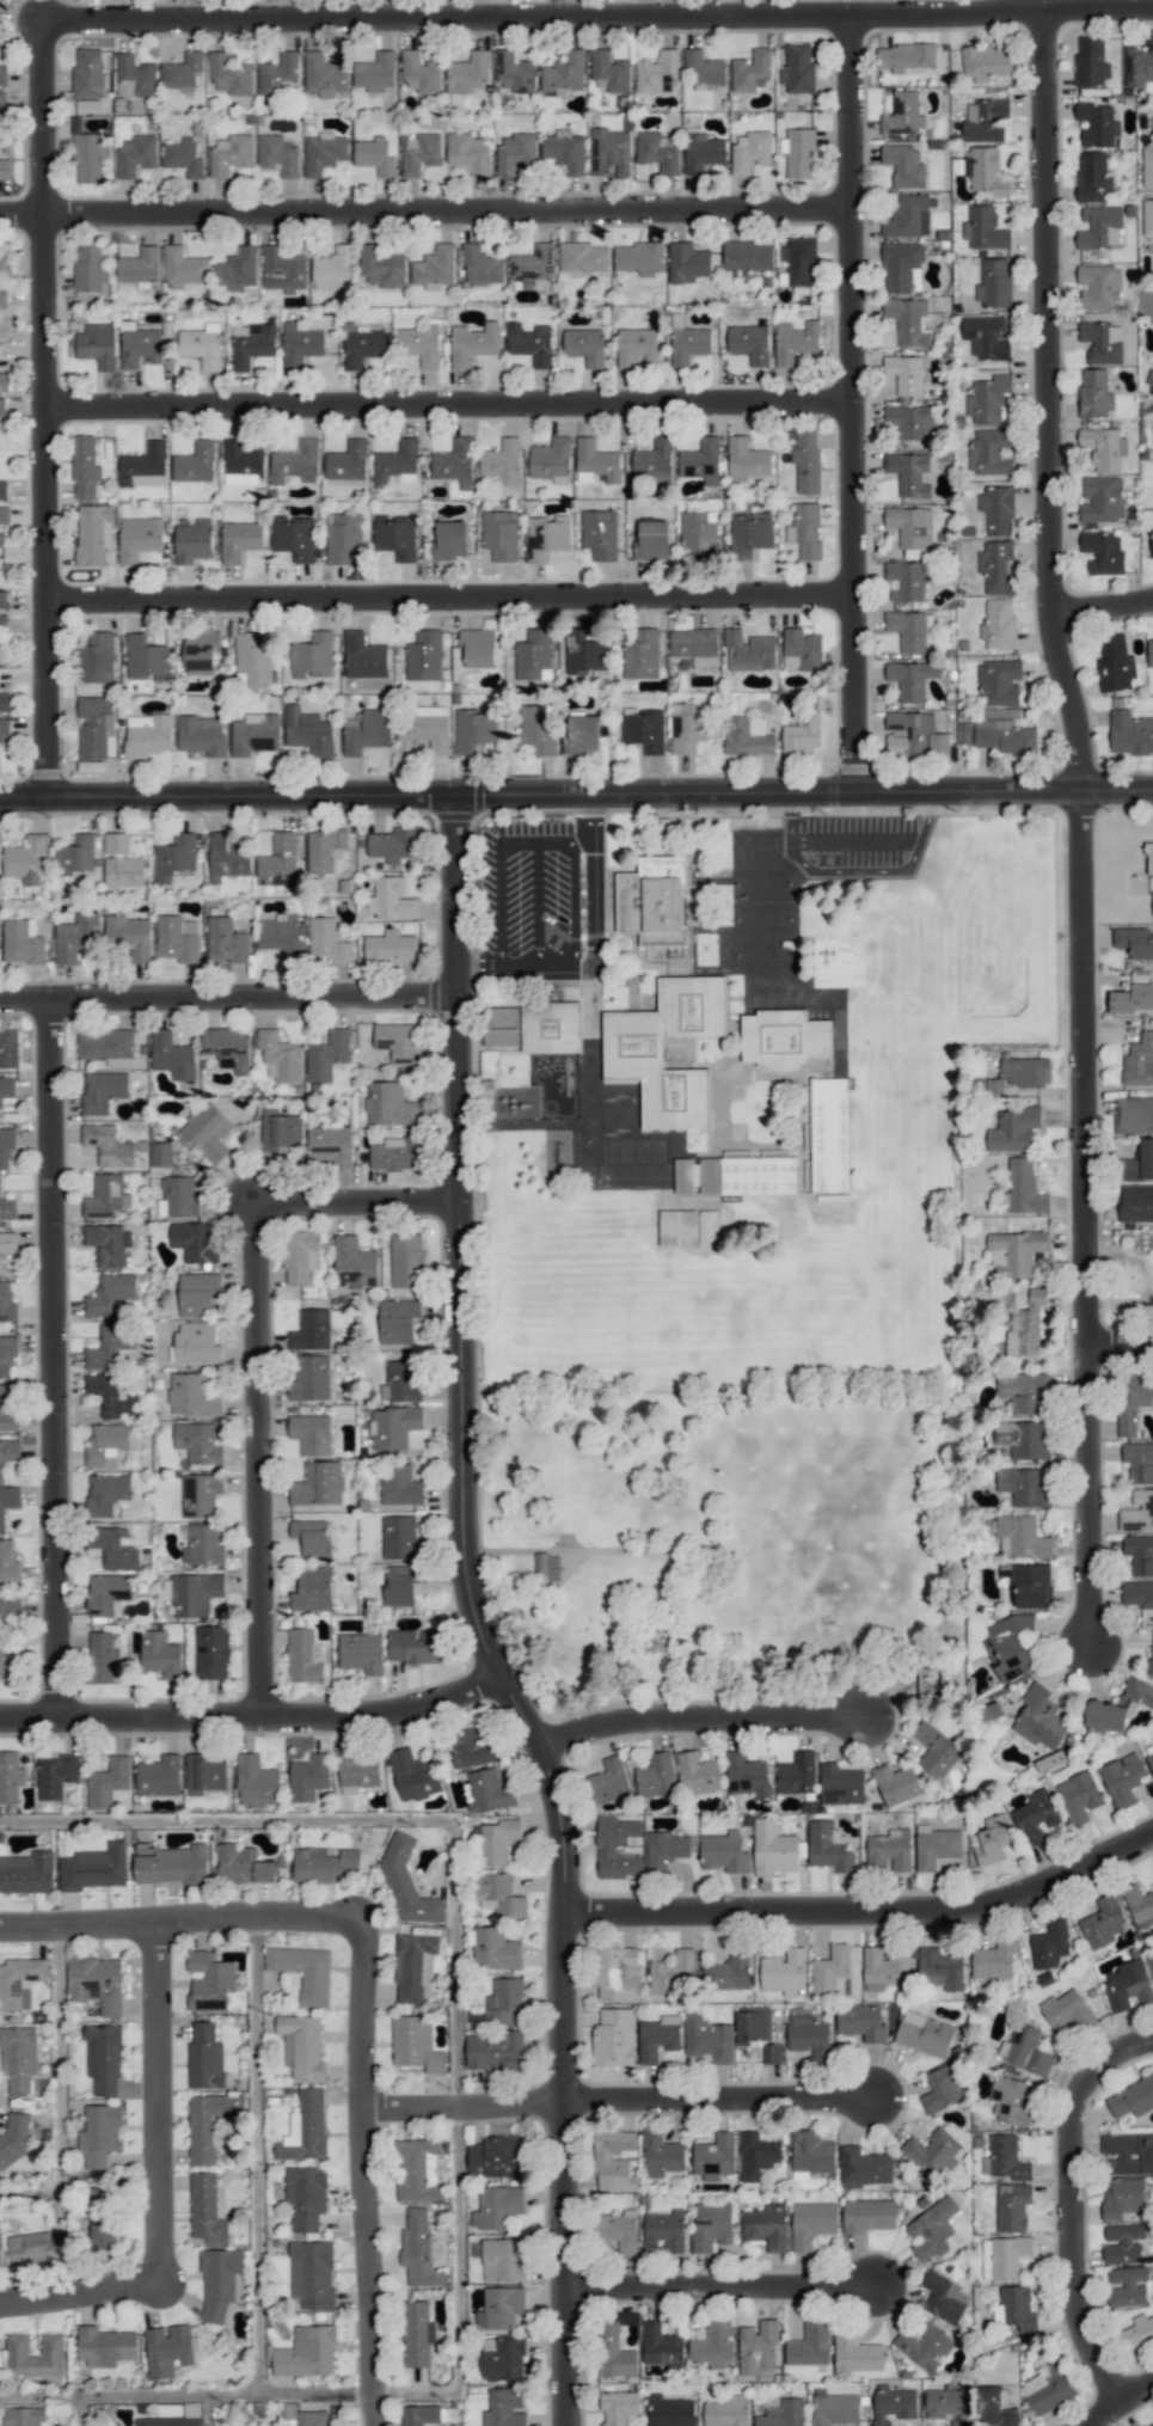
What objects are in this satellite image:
road: (597, 17)
building: (904, 56)
building: (986, 62)
building: (1090, 62)
building: (1139, 65)
building: (703, 68)
building: (798, 69)
building: (750, 71)
building: (183, 72)
building: (375, 72)
building: (564, 72)
building: (608, 72)
building: (656, 72)
building: (86, 73)
building: (419, 73)
building: (467, 73)
building: (514, 73)
building: (2, 74)
building: (231, 74)
building: (278, 74)
building: (134, 75)
building: (323, 75)
building: (2, 103)
building: (92, 105)
building: (902, 114)
building: (985, 120)
building: (1097, 123)
building: (564, 151)
building: (657, 151)
building: (749, 151)
building: (324, 152)
building: (515, 152)
building: (609, 152)
building: (701, 152)
building: (798, 152)
building: (231, 153)
building: (418, 153)
building: (468, 153)
building: (136, 154)
building: (278, 154)
building: (374, 155)
building: (88, 157)
building: (183, 157)
building: (1147, 158)
building: (904, 165)
building: (5, 170)
building: (982, 170)
building: (1092, 177)
road: (427, 212)
building: (908, 218)
building: (1099, 227)
building: (1148, 227)
building: (983, 228)
building: (746, 256)
building: (639, 257)
building: (581, 258)
building: (799, 259)
building: (5, 262)
building: (687, 262)
building: (533, 264)
building: (139, 265)
building: (479, 265)
building: (900, 265)
building: (90, 267)
building: (183, 268)
building: (382, 268)
building: (434, 268)
building: (237, 269)
building: (283, 269)
building: (333, 269)
building: (994, 282)
building: (1098, 287)
building: (2, 299)
building: (907, 320)
building: (985, 337)
building: (795, 341)
building: (1102, 342)
building: (251, 343)
building: (472, 343)
building: (530, 343)
building: (749, 343)
building: (300, 344)
building: (419, 344)
building: (688, 344)
building: (97, 345)
building: (202, 345)
building: (361, 345)
building: (584, 345)
building: (636, 345)
building: (140, 348)
building: (904, 373)
building: (1149, 380)
building: (2, 381)
building: (1094, 393)
building: (987, 399)
road: (857, 403)
road: (452, 405)
building: (2, 406)
road: (47, 409)
building: (910, 421)
building: (1103, 447)
building: (989, 452)
building: (551, 458)
building: (747, 458)
building: (652, 460)
building: (701, 460)
building: (805, 460)
building: (346, 461)
building: (596, 461)
building: (195, 462)
building: (295, 462)
building: (455, 462)
building: (241, 464)
building: (397, 464)
building: (84, 466)
building: (142, 466)
building: (501, 466)
building: (910, 472)
building: (2, 490)
building: (1102, 498)
building: (996, 510)
building: (4, 515)
building: (907, 525)
building: (805, 529)
building: (749, 533)
building: (93, 534)
building: (499, 534)
building: (600, 534)
building: (699, 534)
building: (395, 535)
building: (139, 537)
building: (294, 537)
building: (343, 537)
building: (546, 538)
building: (1, 539)
building: (194, 540)
building: (239, 540)
building: (449, 540)
building: (651, 540)
building: (1152, 541)
building: (1103, 552)
building: (996, 566)
building: (904, 580)
building: (4, 598)
road: (453, 599)
road: (1103, 607)
building: (2, 623)
building: (998, 624)
building: (694, 645)
building: (478, 647)
building: (801, 649)
building: (200, 650)
building: (749, 650)
building: (583, 653)
building: (1149, 653)
building: (640, 654)
building: (534, 655)
building: (145, 656)
building: (312, 656)
building: (363, 656)
building: (424, 656)
building: (96, 657)
building: (252, 657)
building: (1114, 663)
building: (910, 678)
road: (1067, 678)
building: (999, 682)
building: (5, 702)
building: (96, 727)
building: (687, 727)
building: (427, 728)
building: (538, 729)
building: (644, 729)
building: (4, 730)
building: (366, 730)
building: (474, 730)
building: (308, 731)
building: (802, 733)
building: (963, 733)
building: (1130, 733)
building: (202, 734)
building: (254, 734)
building: (582, 734)
building: (913, 734)
building: (147, 735)
building: (747, 736)
building: (1004, 736)
road: (576, 795)
road: (590, 817)
building: (116, 841)
building: (394, 844)
building: (325, 849)
building: (75, 856)
building: (176, 857)
building: (227, 857)
building: (25, 858)
road: (498, 858)
building: (1149, 858)
building: (278, 860)
building: (124, 871)
building: (390, 899)
building: (652, 901)
road: (532, 902)
building: (1152, 903)
road: (593, 908)
building: (129, 936)
building: (282, 936)
building: (76, 937)
building: (177, 938)
building: (226, 941)
building: (327, 941)
building: (1134, 942)
building: (22, 943)
building: (390, 946)
road: (517, 964)
road: (231, 995)
building: (1133, 999)
building: (502, 1016)
building: (551, 1027)
building: (501, 1037)
building: (784, 1039)
building: (398, 1042)
building: (106, 1046)
building: (8, 1048)
building: (227, 1048)
building: (632, 1052)
building: (172, 1055)
building: (277, 1055)
building: (327, 1055)
building: (1139, 1061)
building: (1025, 1071)
building: (6, 1088)
building: (103, 1091)
building: (388, 1104)
building: (1133, 1115)
building: (1013, 1129)
building: (207, 1131)
building: (281, 1132)
building: (829, 1134)
building: (109, 1145)
building: (329, 1145)
building: (6, 1146)
building: (160, 1153)
building: (395, 1153)
building: (1137, 1162)
building: (747, 1175)
building: (686, 1176)
building: (0, 1182)
building: (1023, 1188)
building: (105, 1196)
building: (179, 1196)
road: (360, 1201)
building: (1136, 1202)
building: (7, 1208)
building: (688, 1229)
building: (194, 1242)
building: (108, 1243)
building: (6, 1245)
building: (1014, 1251)
building: (300, 1256)
building: (406, 1260)
building: (354, 1263)
building: (197, 1293)
building: (110, 1294)
building: (7, 1303)
building: (398, 1321)
building: (1025, 1325)
building: (311, 1330)
building: (197, 1343)
road: (1121, 1346)
building: (110, 1347)
road: (55, 1353)
building: (7, 1354)
building: (309, 1377)
building: (401, 1380)
building: (1024, 1392)
building: (111, 1396)
building: (191, 1396)
building: (1131, 1401)
building: (7, 1413)
building: (393, 1426)
building: (311, 1433)
building: (1023, 1438)
building: (197, 1442)
building: (106, 1444)
building: (8, 1453)
road: (259, 1456)
building: (1139, 1462)
building: (318, 1484)
building: (399, 1484)
building: (1024, 1485)
building: (106, 1493)
road: (1090, 1493)
building: (200, 1495)
building: (7, 1501)
building: (1137, 1512)
building: (1020, 1537)
building: (313, 1538)
building: (400, 1538)
building: (202, 1545)
park: (705, 1545)
building: (115, 1548)
building: (1139, 1554)
building: (8, 1562)
building: (540, 1568)
building: (400, 1586)
building: (1031, 1586)
building: (313, 1588)
building: (108, 1593)
building: (191, 1593)
building: (1137, 1593)
building: (8, 1610)
road: (476, 1619)
building: (415, 1646)
building: (1010, 1646)
building: (1151, 1649)
building: (211, 1652)
building: (361, 1652)
building: (160, 1654)
building: (303, 1655)
building: (102, 1656)
road: (583, 1658)
building: (6, 1662)
building: (1120, 1707)
road: (252, 1711)
road: (701, 1716)
building: (1039, 1717)
building: (470, 1747)
building: (936, 1750)
building: (1149, 1760)
building: (358, 1771)
building: (203, 1772)
building: (698, 1772)
building: (797, 1773)
building: (55, 1775)
building: (413, 1775)
building: (656, 1775)
building: (746, 1775)
building: (159, 1776)
building: (308, 1776)
building: (10, 1777)
building: (1122, 1778)
building: (608, 1781)
building: (108, 1782)
building: (256, 1782)
building: (896, 1783)
building: (841, 1784)
building: (489, 1790)
building: (1078, 1796)
building: (1035, 1817)
building: (993, 1839)
building: (497, 1840)
building: (936, 1845)
building: (829, 1846)
building: (773, 1848)
building: (606, 1849)
building: (663, 1850)
building: (890, 1850)
building: (724, 1852)
building: (170, 1863)
building: (244, 1864)
building: (324, 1864)
building: (93, 1867)
building: (26, 1873)
building: (407, 1882)
building: (499, 1894)
building: (1139, 1905)
road: (179, 1911)
road: (864, 1911)
building: (1103, 1923)
building: (1049, 1944)
building: (495, 1948)
building: (1151, 1959)
building: (994, 1960)
building: (413, 1966)
building: (884, 1968)
building: (940, 1968)
building: (303, 1971)
building: (728, 1971)
building: (784, 1971)
building: (832, 1971)
building: (671, 1972)
building: (617, 1973)
building: (209, 1980)
building: (19, 1981)
building: (97, 1983)
building: (1128, 1985)
building: (503, 2001)
building: (1067, 2011)
building: (861, 2021)
building: (753, 2023)
building: (924, 2033)
building: (810, 2036)
building: (613, 2038)
building: (658, 2038)
building: (709, 2040)
building: (415, 2044)
building: (302, 2046)
building: (1025, 2050)
building: (495, 2051)
building: (772, 2053)
building: (18, 2057)
building: (206, 2057)
building: (103, 2058)
building: (943, 2088)
road: (160, 2093)
road: (716, 2095)
building: (1131, 2097)
road: (461, 2100)
building: (1008, 2100)
road: (458, 2109)
building: (210, 2124)
building: (305, 2127)
building: (99, 2133)
building: (16, 2139)
road: (256, 2150)
building: (932, 2151)
building: (661, 2154)
building: (810, 2154)
building: (1127, 2154)
building: (756, 2155)
building: (496, 2156)
building: (715, 2156)
building: (1006, 2157)
building: (614, 2158)
building: (863, 2167)
road: (364, 2169)
building: (417, 2169)
building: (306, 2195)
building: (1122, 2197)
building: (497, 2206)
building: (1012, 2206)
road: (1073, 2207)
building: (207, 2210)
building: (867, 2214)
building: (100, 2219)
building: (812, 2222)
building: (712, 2225)
building: (767, 2225)
building: (931, 2229)
building: (618, 2230)
building: (666, 2230)
building: (1123, 2243)
building: (38, 2248)
building: (418, 2249)
building: (0, 2254)
building: (1004, 2256)
building: (503, 2259)
building: (312, 2274)
building: (219, 2280)
road: (719, 2285)
building: (1127, 2286)
road: (84, 2295)
building: (944, 2297)
building: (501, 2306)
building: (1016, 2308)
building: (1137, 2332)
building: (417, 2333)
building: (17, 2344)
building: (713, 2344)
building: (810, 2344)
building: (661, 2345)
building: (105, 2346)
building: (925, 2346)
building: (758, 2348)
building: (167, 2351)
building: (306, 2352)
building: (614, 2352)
building: (855, 2353)
building: (502, 2358)
building: (1049, 2388)
building: (945, 2402)
building: (893, 2404)
road: (1122, 2404)
building: (504, 2407)
building: (618, 2407)
building: (833, 2407)
building: (994, 2407)
road: (84, 2409)
building: (670, 2410)
building: (726, 2410)
building: (784, 2413)
building: (25, 2415)
building: (303, 2415)
building: (419, 2415)
building: (168, 2421)
building: (1151, 2425)

